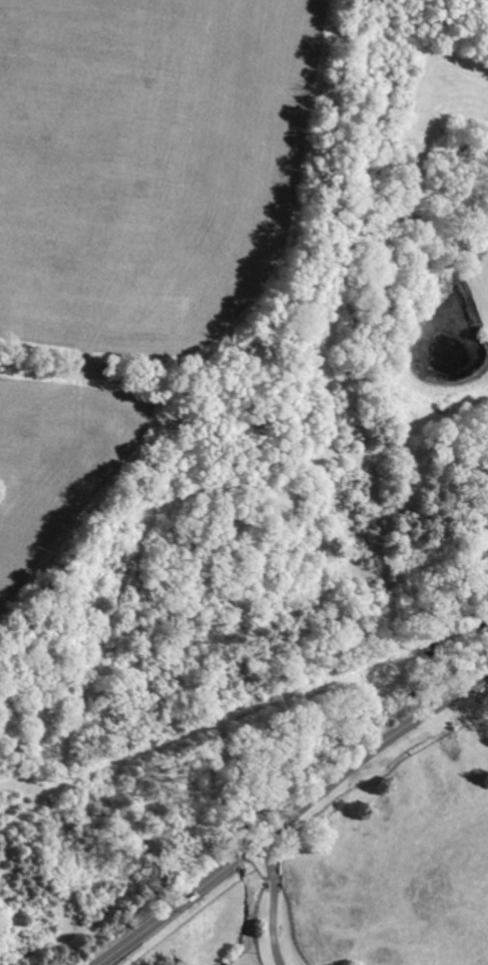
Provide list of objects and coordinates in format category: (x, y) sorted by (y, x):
road: (487, 675)
road: (290, 814)
road: (273, 901)

